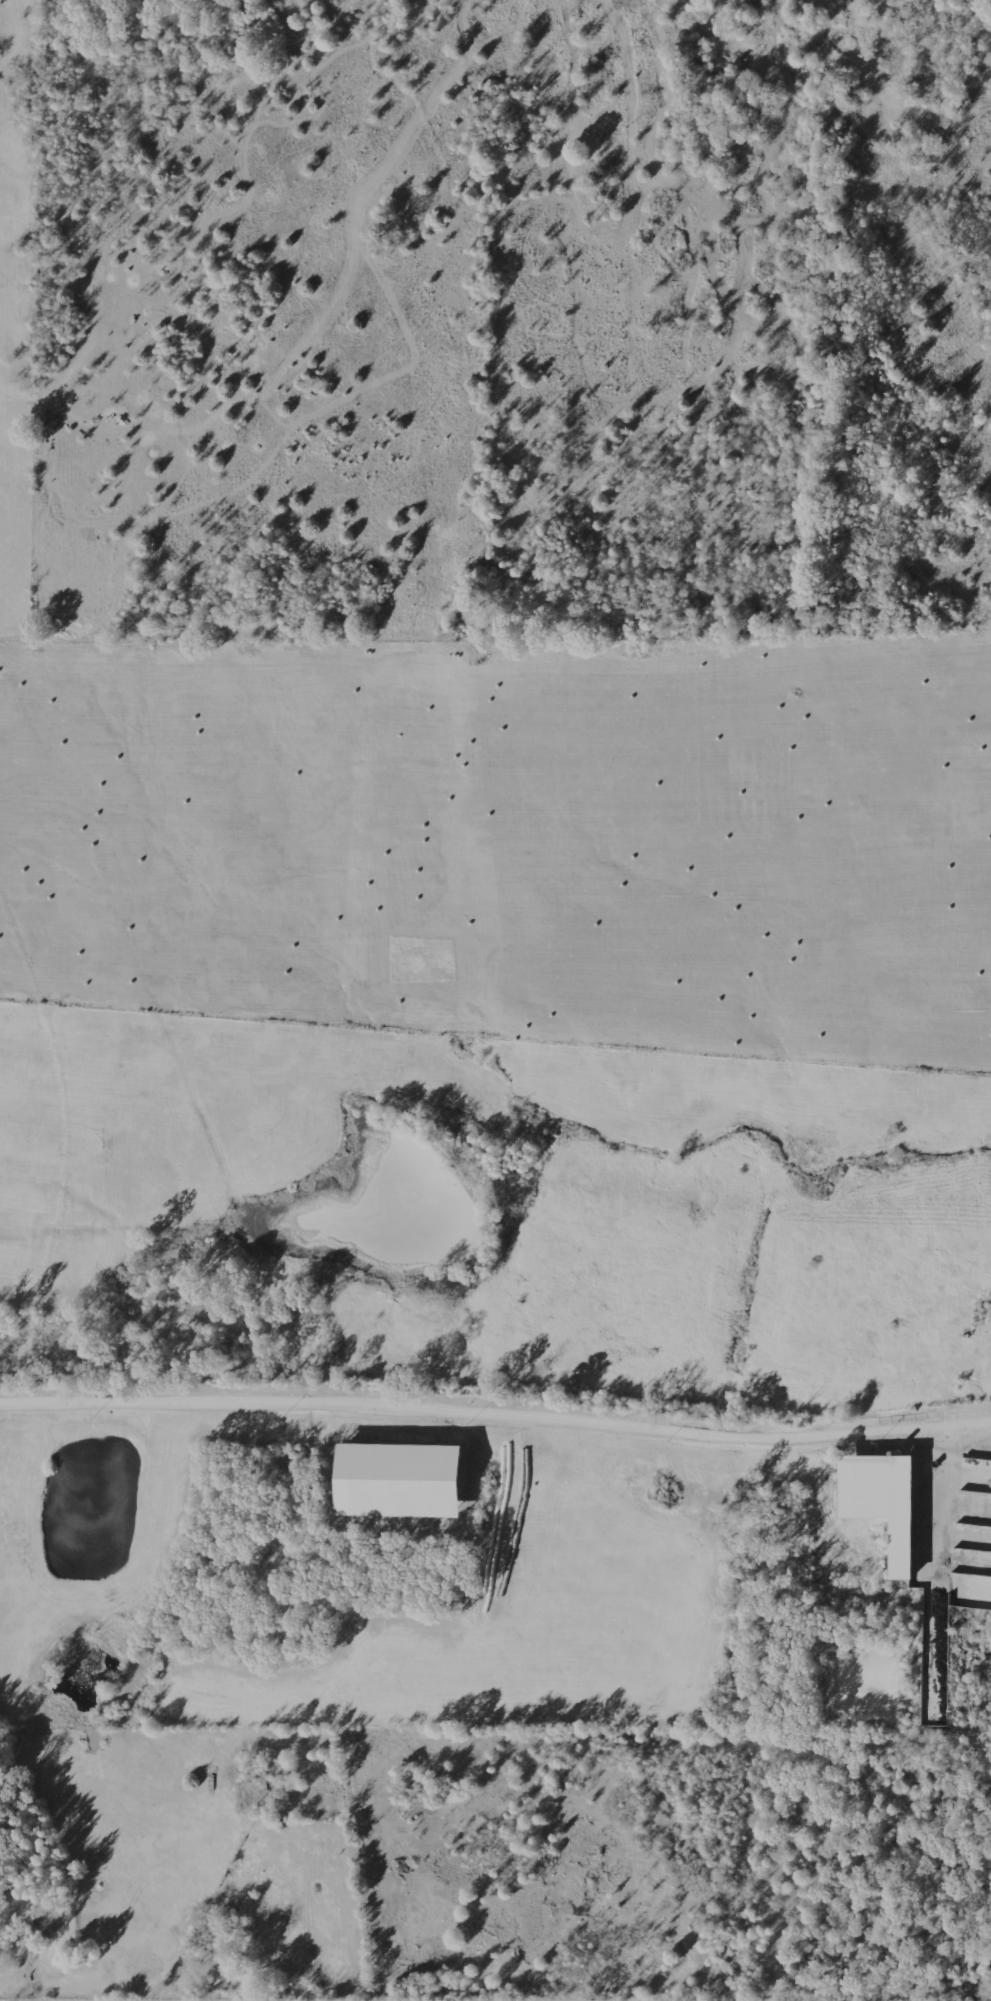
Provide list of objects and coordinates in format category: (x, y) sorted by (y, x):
road: (495, 1418)
building: (403, 1480)
building: (884, 1501)

